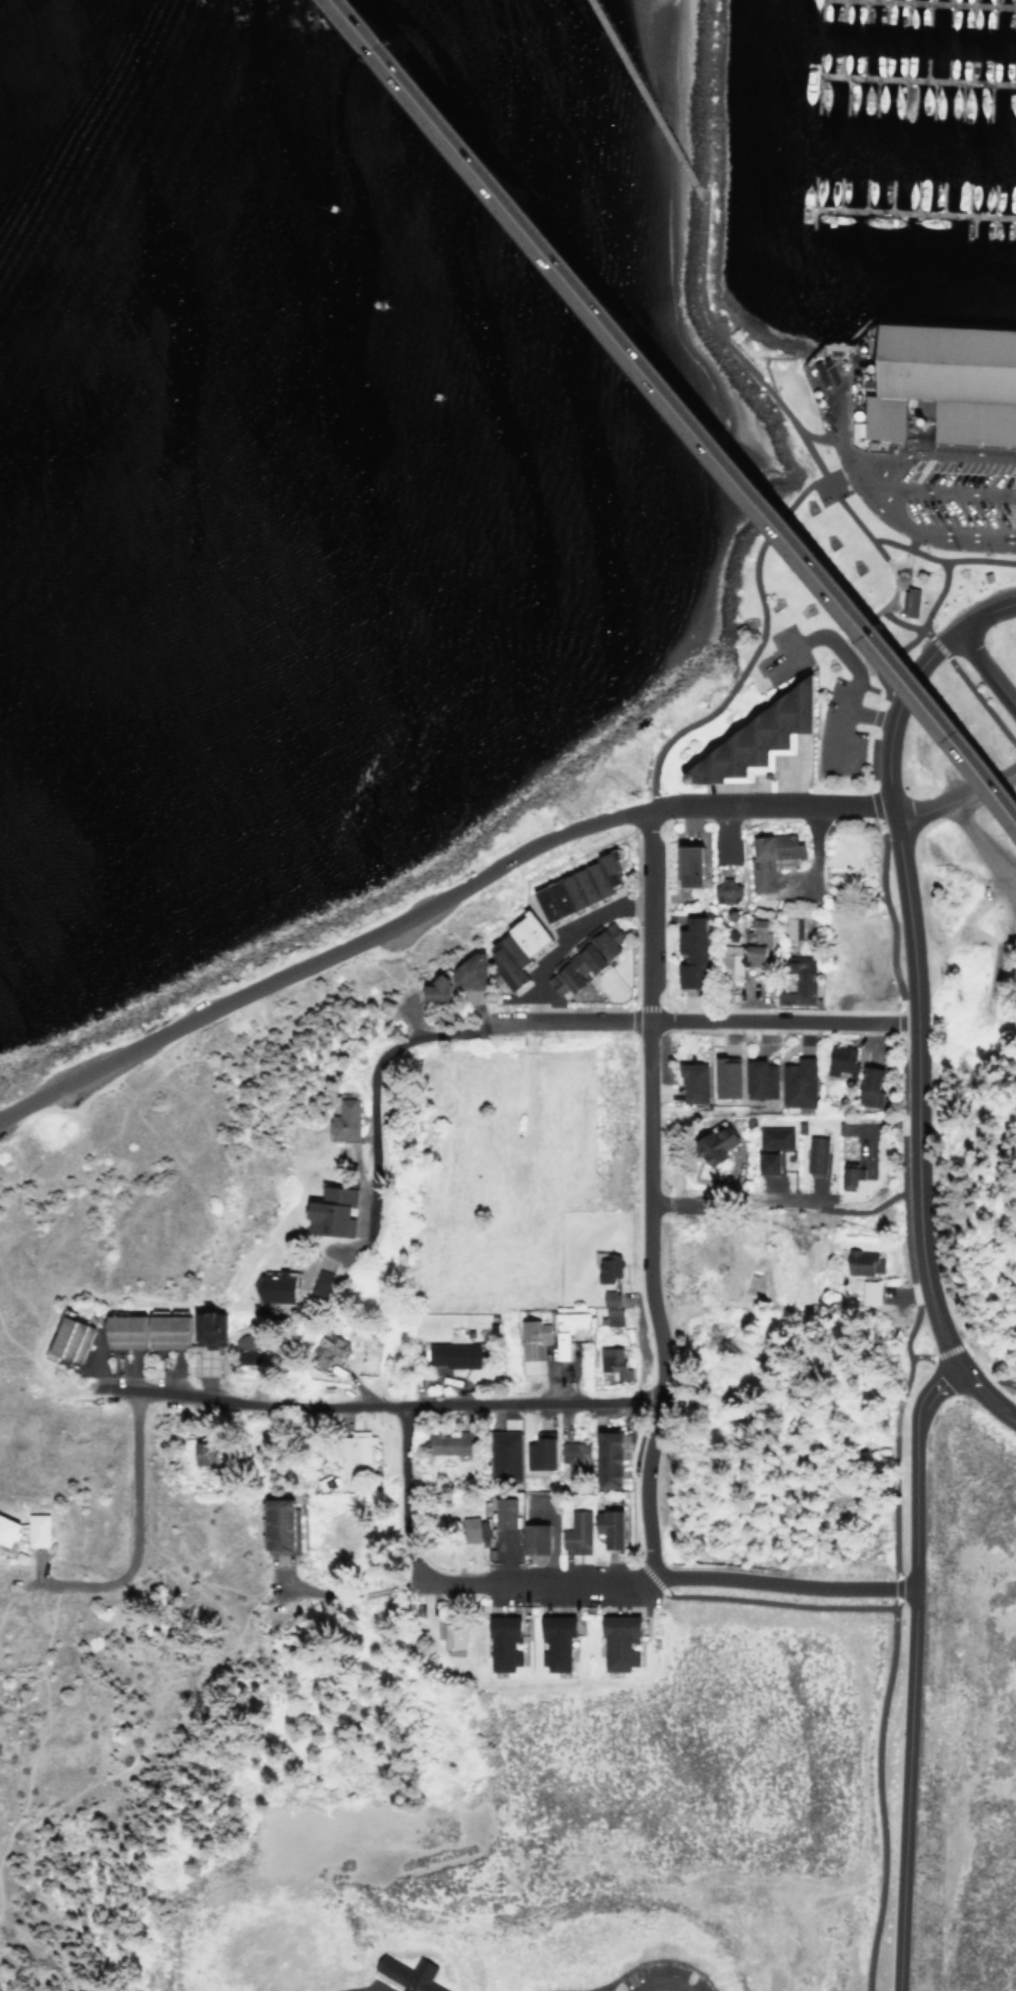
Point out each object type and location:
pier: (958, 2)
pier: (917, 77)
pier: (647, 101)
pier: (914, 211)
road: (731, 347)
building: (940, 381)
road: (688, 401)
road: (682, 409)
road: (676, 418)
road: (930, 454)
road: (800, 491)
road: (938, 492)
road: (1013, 496)
road: (891, 514)
road: (773, 525)
road: (884, 557)
road: (941, 561)
building: (910, 602)
road: (927, 610)
road: (883, 659)
road: (847, 661)
road: (985, 670)
road: (909, 679)
road: (732, 684)
road: (969, 685)
road: (867, 714)
building: (751, 737)
road: (1006, 774)
road: (985, 785)
road: (771, 804)
road: (933, 804)
road: (984, 838)
building: (768, 856)
building: (684, 866)
building: (571, 886)
building: (722, 892)
building: (793, 924)
building: (600, 939)
building: (513, 948)
building: (686, 953)
road: (323, 957)
building: (568, 970)
building: (461, 971)
building: (798, 980)
building: (426, 988)
road: (650, 1018)
building: (836, 1059)
building: (721, 1078)
building: (755, 1079)
building: (790, 1083)
building: (688, 1084)
building: (865, 1086)
building: (353, 1120)
road: (374, 1123)
road: (915, 1131)
building: (769, 1138)
building: (711, 1147)
building: (811, 1155)
building: (759, 1164)
building: (845, 1173)
road: (648, 1191)
road: (739, 1199)
road: (848, 1209)
building: (345, 1210)
road: (363, 1239)
building: (861, 1263)
building: (608, 1267)
building: (329, 1284)
building: (284, 1288)
building: (866, 1293)
building: (606, 1308)
road: (908, 1328)
building: (165, 1329)
building: (550, 1334)
building: (74, 1338)
building: (336, 1343)
road: (968, 1353)
building: (455, 1354)
building: (607, 1362)
road: (997, 1378)
road: (63, 1384)
road: (398, 1403)
building: (446, 1443)
building: (354, 1446)
building: (208, 1452)
building: (541, 1452)
building: (503, 1455)
building: (569, 1458)
road: (402, 1493)
building: (286, 1526)
building: (610, 1527)
building: (468, 1529)
building: (10, 1530)
building: (39, 1530)
road: (131, 1532)
building: (576, 1533)
building: (537, 1539)
road: (668, 1574)
road: (354, 1590)
building: (453, 1635)
building: (560, 1640)
building: (619, 1642)
building: (506, 1643)
road: (911, 1670)
road: (45, 1721)
road: (169, 1727)
road: (639, 1963)
building: (409, 1974)
road: (661, 1982)
road: (358, 1990)

